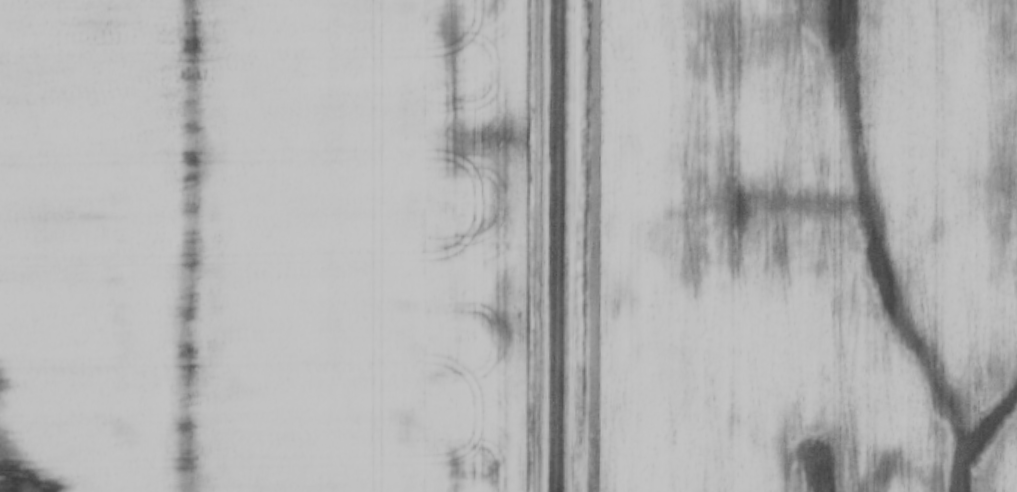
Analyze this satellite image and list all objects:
road: (560, 246)

